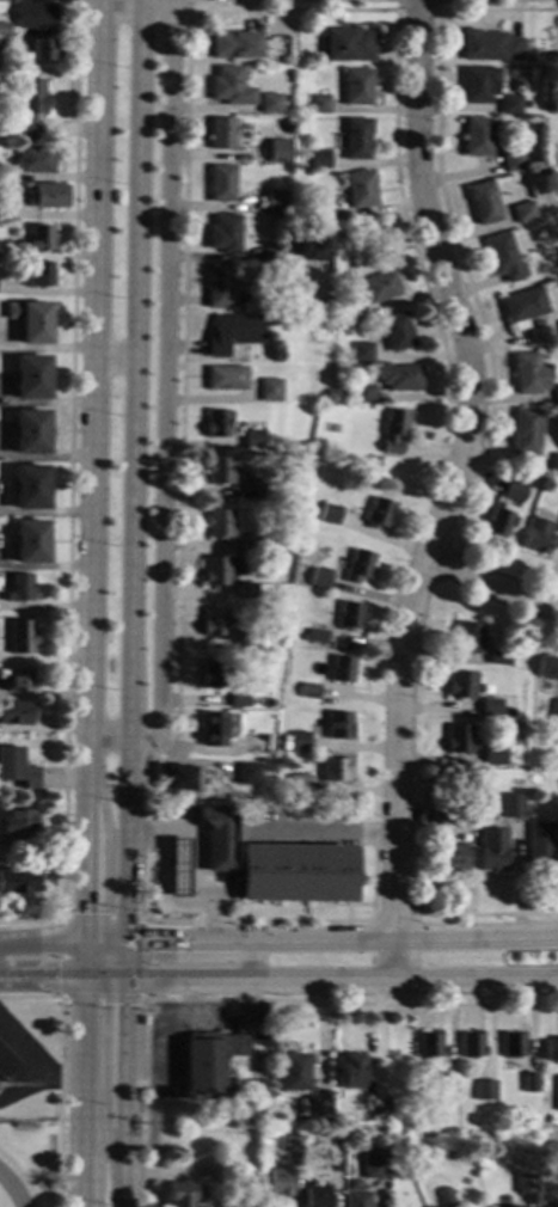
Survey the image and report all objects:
building: (1, 0)
road: (418, 11)
building: (35, 14)
building: (4, 29)
building: (234, 44)
building: (345, 44)
building: (489, 45)
building: (38, 49)
building: (479, 84)
building: (229, 86)
building: (357, 86)
building: (269, 103)
building: (319, 104)
building: (509, 104)
building: (29, 106)
building: (221, 134)
building: (477, 136)
building: (357, 139)
building: (277, 151)
building: (250, 153)
building: (33, 159)
building: (320, 159)
building: (511, 161)
road: (439, 176)
building: (221, 183)
building: (360, 189)
building: (48, 195)
building: (274, 201)
building: (483, 202)
building: (255, 203)
building: (324, 212)
building: (522, 212)
building: (223, 233)
building: (39, 238)
building: (307, 241)
building: (269, 253)
building: (502, 257)
building: (295, 270)
building: (38, 274)
building: (217, 286)
building: (380, 286)
building: (522, 307)
building: (354, 314)
building: (30, 320)
road: (182, 321)
building: (557, 321)
building: (397, 331)
building: (232, 332)
building: (361, 351)
road: (115, 361)
building: (529, 373)
building: (31, 376)
building: (401, 376)
building: (225, 378)
building: (268, 390)
building: (363, 393)
building: (556, 393)
road: (164, 397)
building: (216, 423)
building: (258, 425)
building: (393, 429)
building: (30, 431)
building: (526, 431)
building: (253, 440)
building: (239, 462)
building: (554, 462)
road: (131, 468)
building: (219, 470)
building: (29, 486)
building: (251, 489)
road: (449, 489)
road: (69, 491)
building: (514, 491)
building: (330, 513)
building: (378, 513)
building: (556, 514)
building: (499, 520)
building: (217, 522)
building: (536, 535)
building: (30, 541)
building: (249, 544)
building: (358, 565)
building: (215, 571)
building: (319, 578)
road: (492, 582)
building: (19, 588)
building: (245, 590)
road: (94, 603)
building: (349, 614)
building: (214, 620)
building: (314, 636)
building: (20, 637)
building: (467, 637)
building: (266, 642)
building: (243, 643)
building: (497, 657)
building: (547, 667)
building: (341, 668)
building: (213, 673)
building: (19, 680)
building: (460, 685)
building: (307, 691)
building: (239, 700)
building: (490, 706)
building: (554, 710)
building: (505, 712)
building: (16, 713)
building: (337, 724)
building: (213, 729)
building: (458, 739)
building: (299, 741)
building: (258, 742)
building: (493, 754)
building: (18, 768)
building: (335, 768)
building: (246, 773)
building: (179, 778)
building: (298, 785)
building: (264, 794)
building: (510, 805)
building: (449, 811)
building: (19, 821)
road: (320, 832)
building: (215, 838)
building: (541, 848)
building: (491, 850)
road: (192, 854)
building: (452, 857)
building: (177, 871)
gas station: (177, 871)
road: (105, 872)
building: (296, 874)
building: (18, 881)
traffic signals: (86, 913)
road: (486, 914)
road: (394, 918)
road: (146, 923)
traffic signals: (153, 938)
road: (320, 938)
road: (42, 942)
road: (129, 957)
road: (245, 958)
road: (42, 974)
traffic signals: (56, 974)
road: (320, 981)
road: (186, 993)
road: (249, 999)
traffic signals: (128, 1005)
road: (170, 1007)
building: (143, 1021)
parking lot: (191, 1034)
building: (429, 1044)
building: (471, 1044)
building: (513, 1044)
building: (551, 1050)
building: (210, 1061)
building: (6, 1064)
road: (35, 1065)
road: (105, 1065)
building: (258, 1066)
road: (60, 1070)
building: (350, 1070)
building: (292, 1072)
building: (444, 1083)
building: (529, 1083)
road: (22, 1086)
building: (483, 1090)
road: (128, 1091)
building: (315, 1107)
building: (376, 1110)
building: (250, 1114)
building: (29, 1127)
building: (284, 1141)
building: (295, 1144)
building: (397, 1153)
building: (332, 1160)
building: (374, 1170)
building: (280, 1181)
building: (527, 1187)
track: (11, 1190)
building: (179, 1195)
building: (317, 1196)
building: (446, 1197)
building: (356, 1199)
building: (550, 1206)

